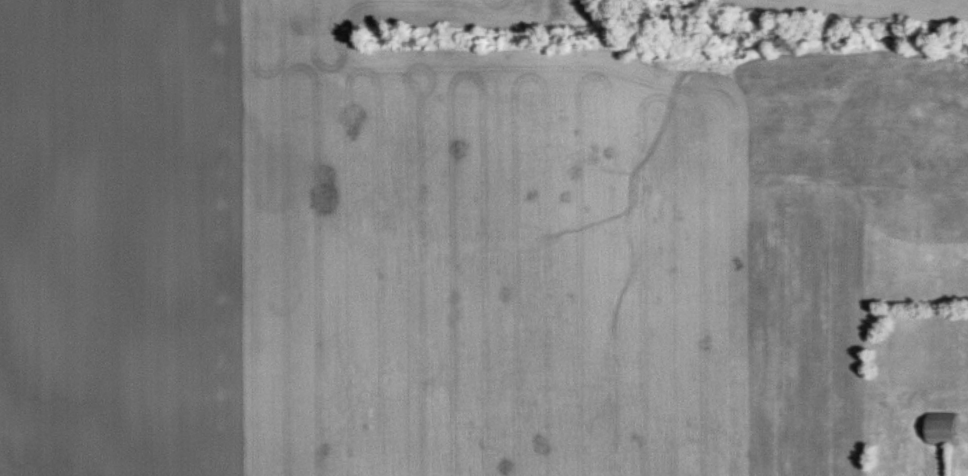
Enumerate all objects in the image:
building: (939, 430)

